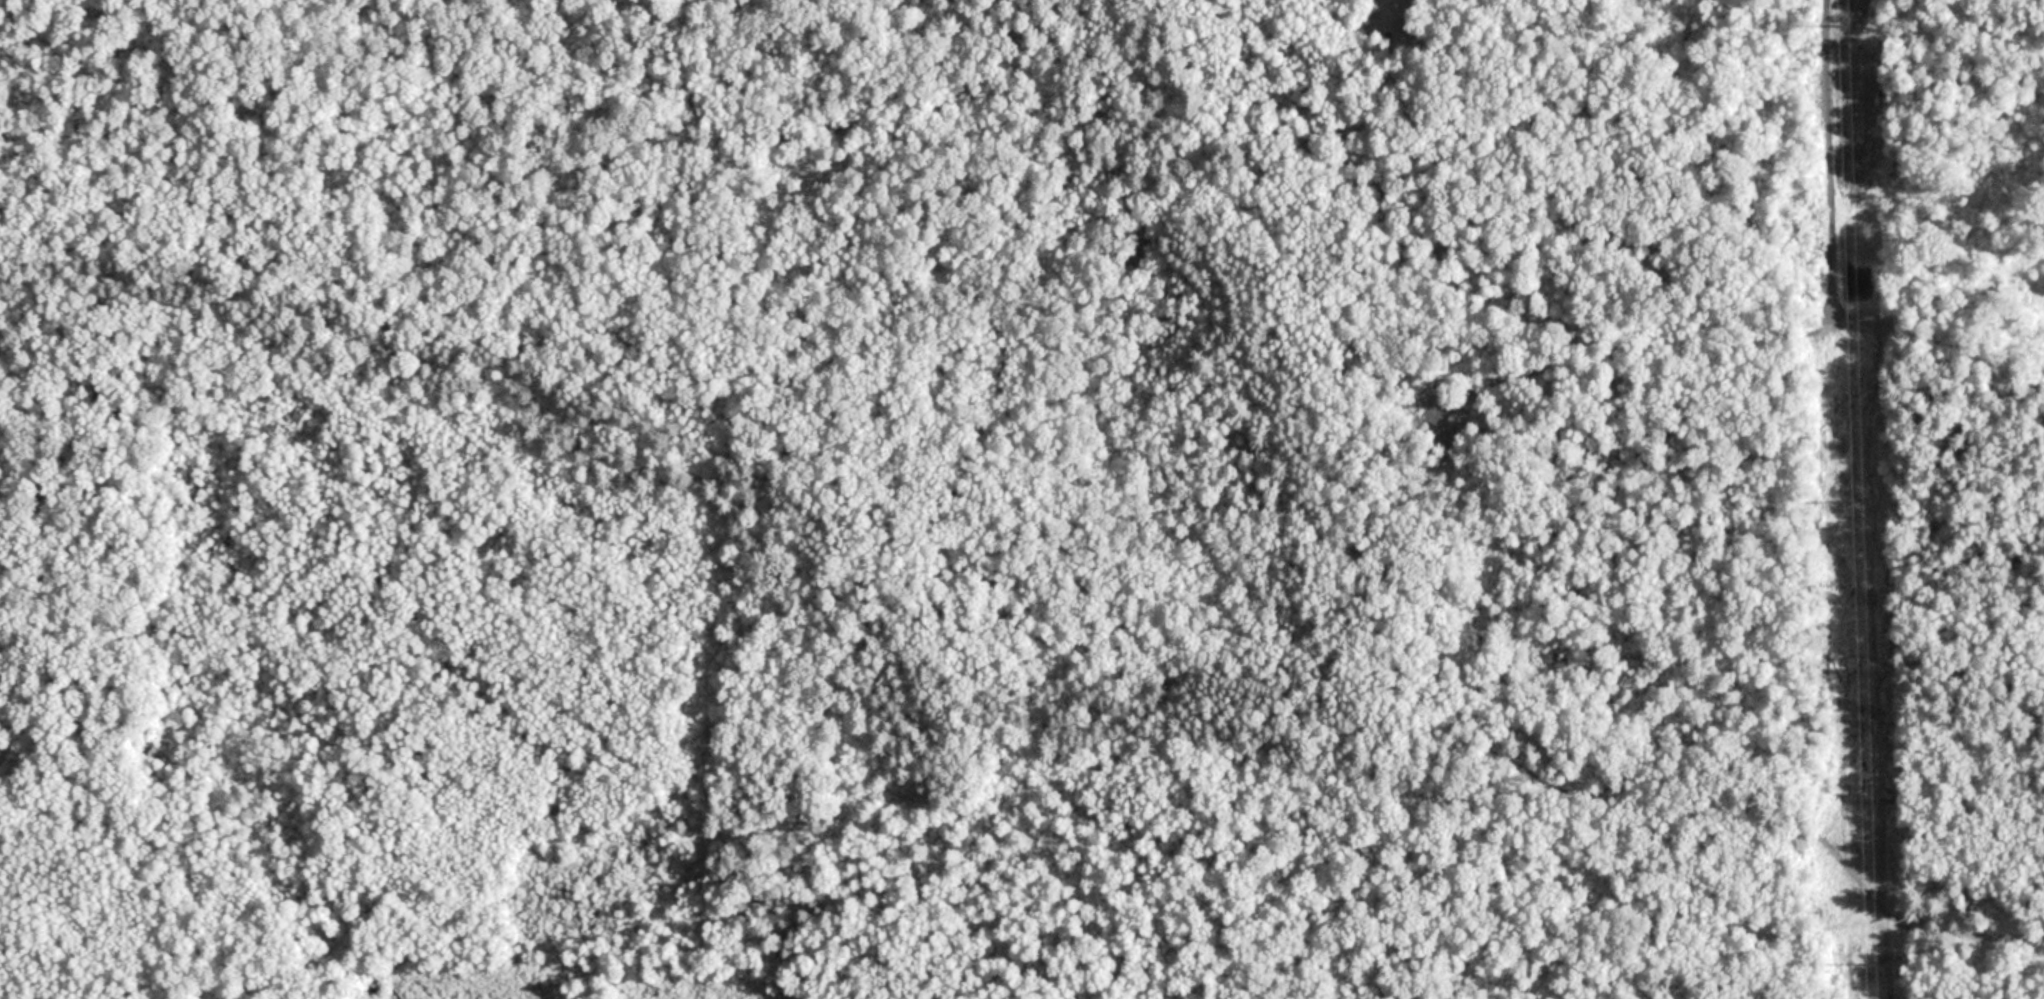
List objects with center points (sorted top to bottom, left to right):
power tower: (1845, 28)
park: (689, 501)
power tower: (1856, 501)
power tower: (1874, 965)

